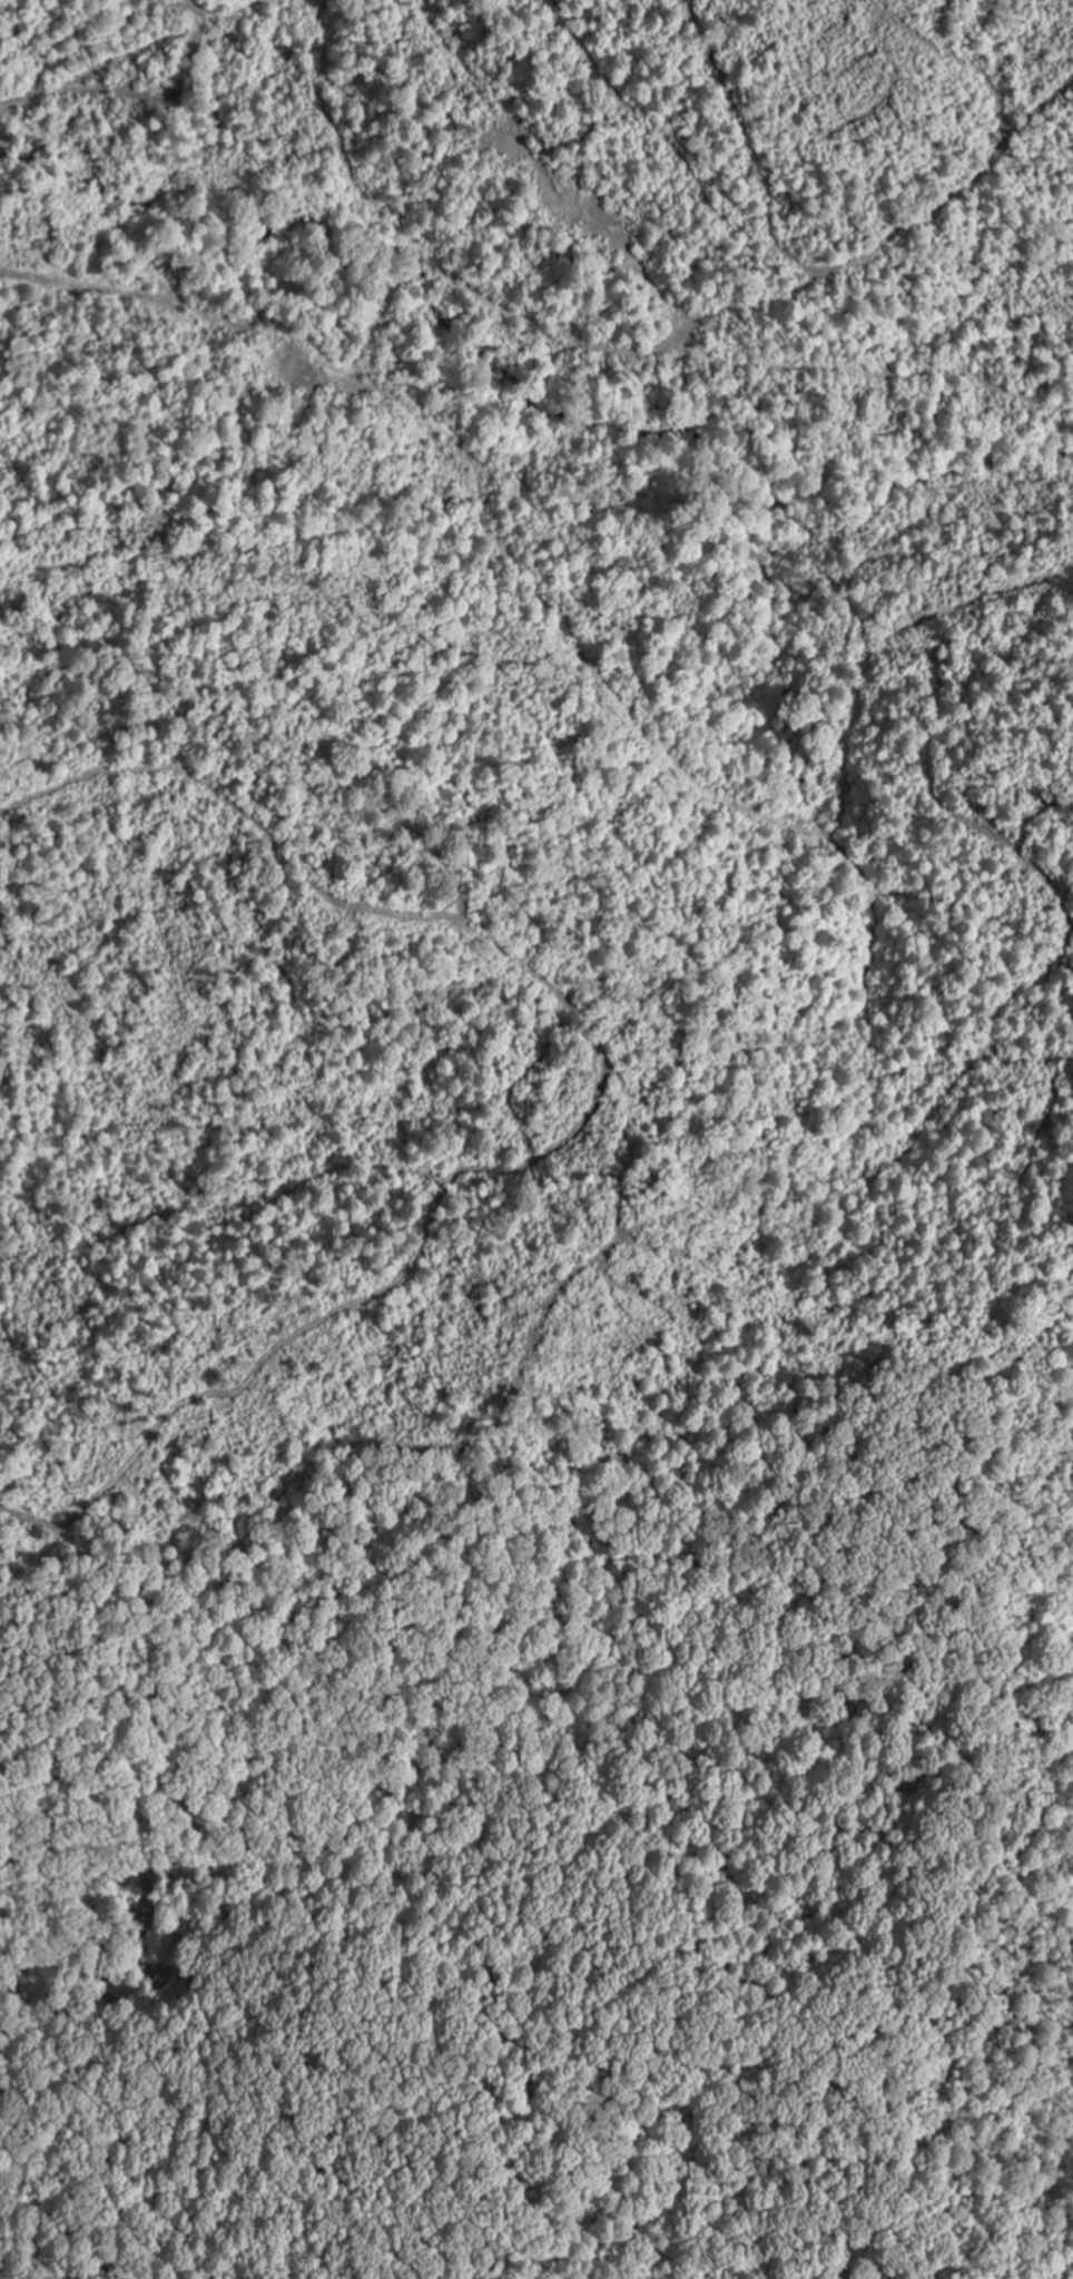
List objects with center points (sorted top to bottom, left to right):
building: (2, 134)

